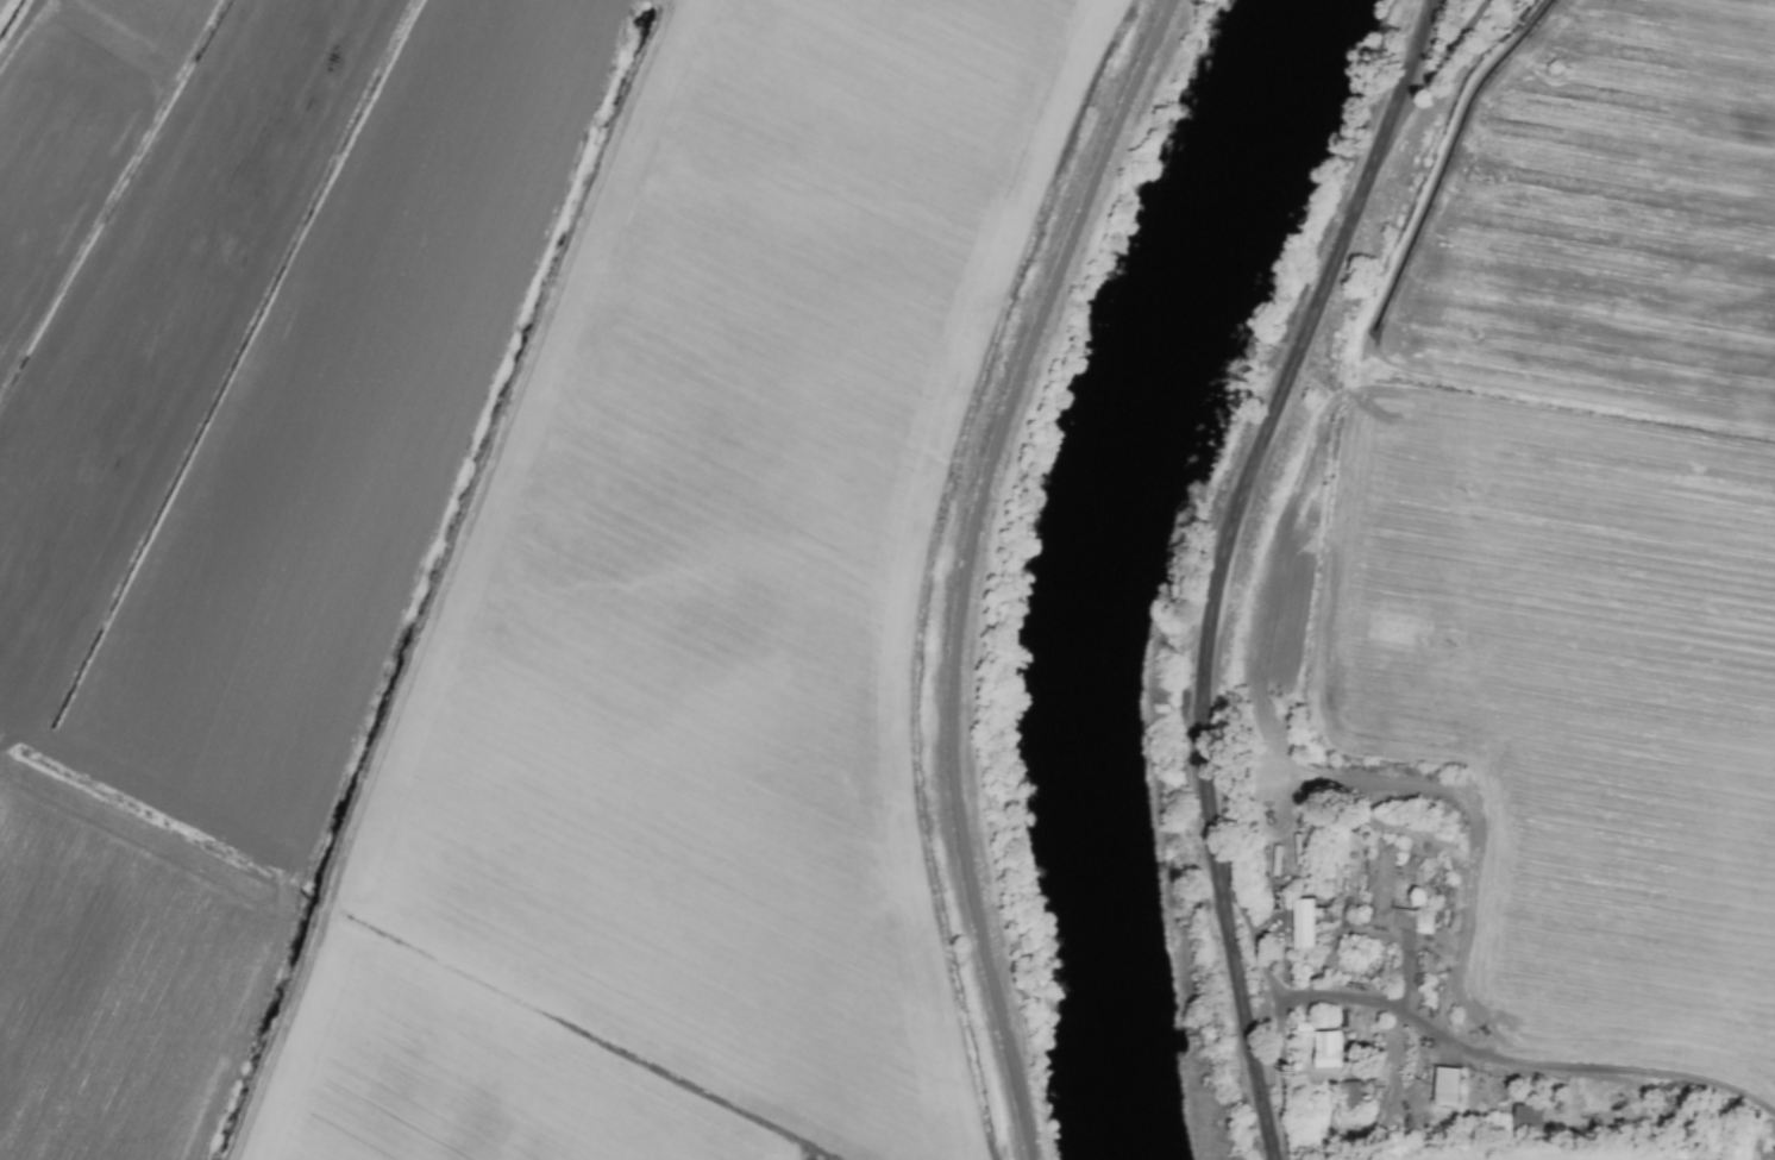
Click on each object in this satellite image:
road: (19, 32)
road: (1438, 63)
road: (1221, 564)
road: (962, 565)
crop: (516, 569)
crop: (1531, 616)
building: (1384, 890)
building: (1303, 926)
road: (1278, 1014)
building: (1328, 1049)
road: (1523, 1068)
building: (1447, 1087)
building: (1349, 1095)

